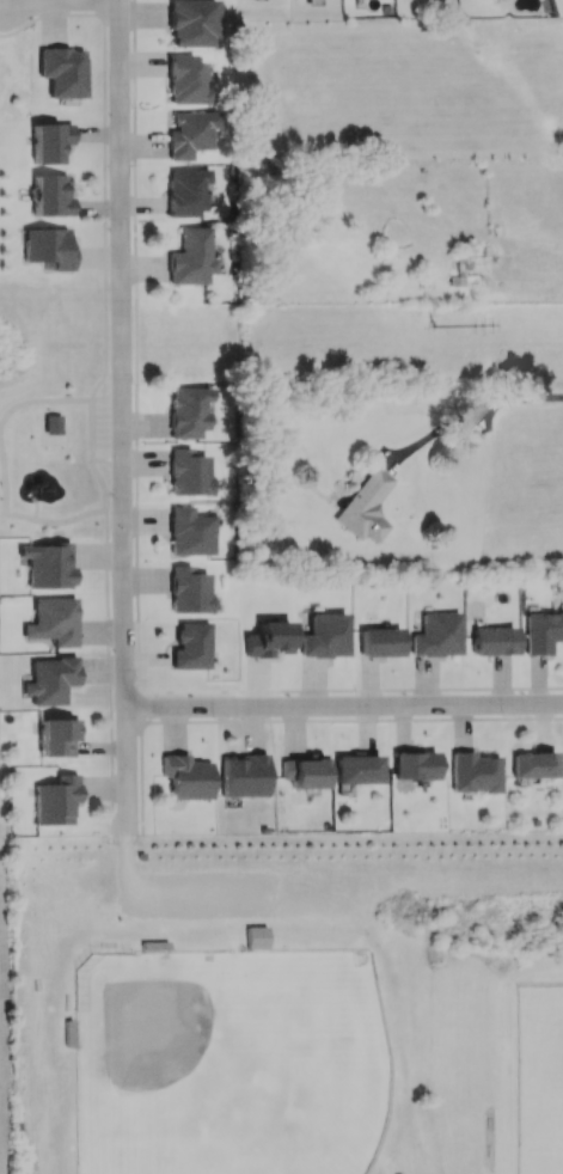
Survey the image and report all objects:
road: (60, 0)
building: (191, 23)
building: (62, 72)
building: (185, 80)
building: (190, 133)
building: (49, 141)
building: (186, 191)
building: (50, 196)
building: (48, 247)
road: (97, 256)
building: (190, 257)
power tower: (439, 331)
road: (91, 411)
building: (186, 414)
road: (123, 416)
road: (477, 416)
parking lot: (102, 428)
road: (5, 470)
building: (188, 473)
building: (365, 507)
building: (189, 532)
road: (97, 556)
building: (47, 564)
building: (189, 591)
building: (53, 622)
building: (543, 631)
building: (437, 635)
building: (324, 636)
building: (492, 641)
building: (380, 642)
building: (191, 646)
building: (49, 680)
road: (344, 704)
building: (57, 736)
building: (414, 765)
building: (534, 765)
building: (357, 769)
building: (304, 772)
building: (473, 772)
building: (244, 776)
building: (186, 777)
building: (55, 801)
parking lot: (197, 894)
road: (161, 898)
building: (257, 936)
building: (68, 1033)
park: (230, 1062)
park: (541, 1080)

